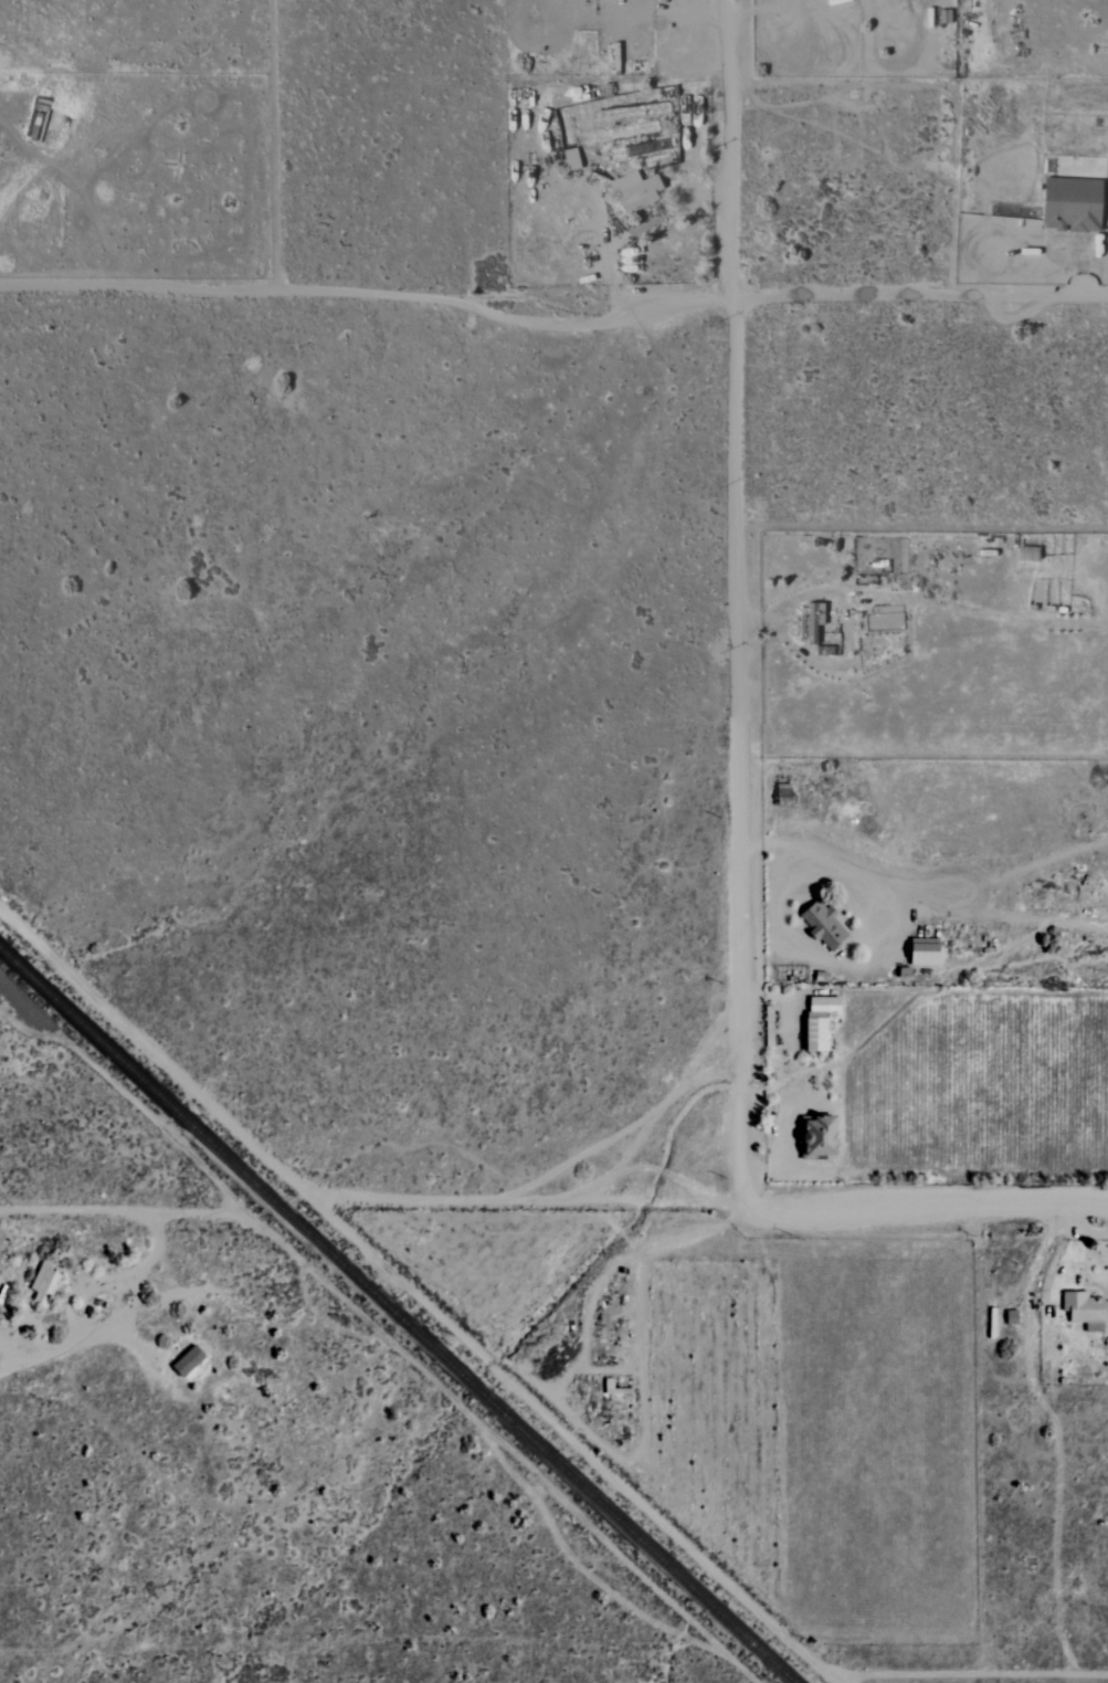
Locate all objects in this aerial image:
road: (761, 9)
road: (669, 15)
road: (273, 141)
building: (572, 159)
building: (636, 191)
building: (1074, 206)
road: (606, 242)
road: (135, 282)
road: (920, 301)
road: (500, 318)
road: (737, 601)
building: (813, 625)
building: (784, 795)
road: (829, 870)
building: (824, 926)
building: (926, 951)
road: (782, 1006)
building: (820, 1021)
road: (782, 1088)
building: (821, 1138)
road: (709, 1203)
road: (120, 1212)
road: (645, 1252)
road: (1068, 1264)
building: (44, 1284)
road: (414, 1293)
building: (1085, 1307)
railway: (398, 1314)
road: (112, 1322)
building: (188, 1361)
road: (502, 1443)
road: (580, 1567)
road: (970, 1673)

